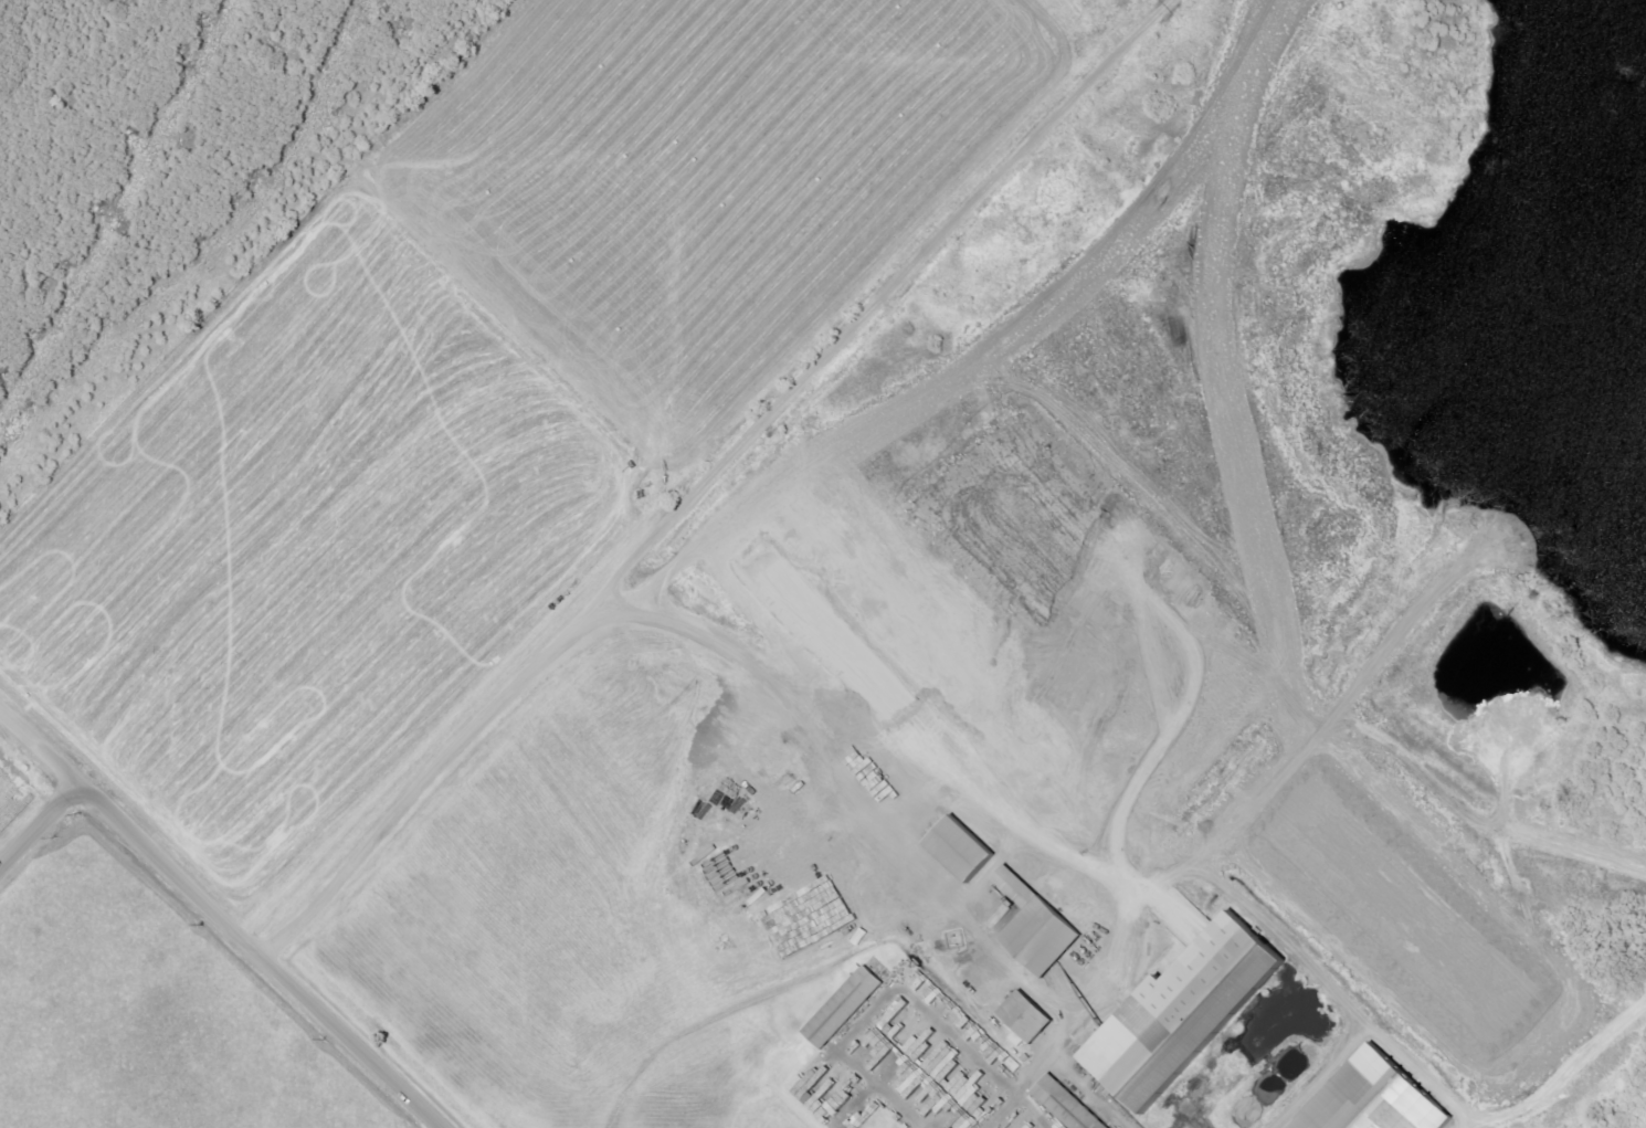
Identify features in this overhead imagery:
road: (1154, 377)
road: (852, 434)
road: (714, 478)
road: (1359, 797)
road: (41, 830)
road: (894, 843)
building: (970, 847)
building: (1020, 886)
road: (222, 917)
building: (808, 918)
building: (1046, 936)
building: (846, 1005)
building: (1196, 1012)
building: (1032, 1015)
road: (981, 1054)
road: (845, 1057)
building: (930, 1071)
road: (1569, 1072)
road: (1068, 1077)
building: (810, 1082)
building: (1382, 1098)
building: (1072, 1105)
building: (1001, 1127)

